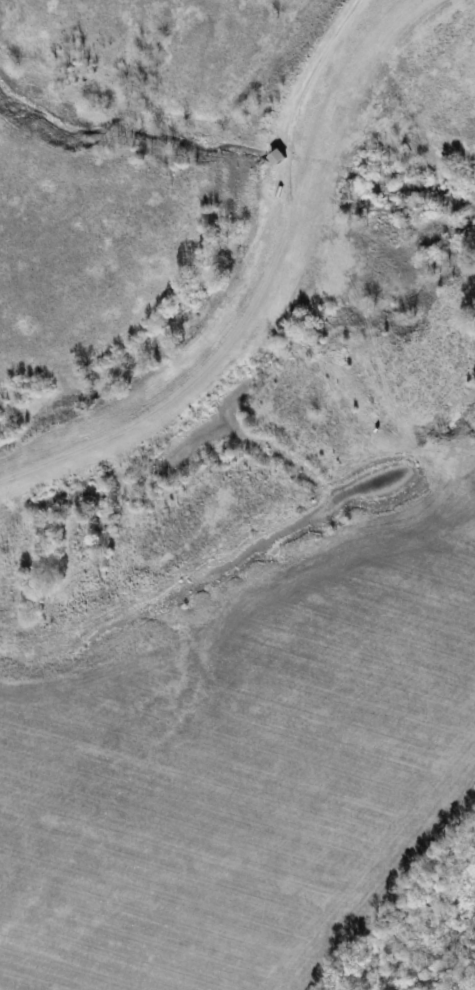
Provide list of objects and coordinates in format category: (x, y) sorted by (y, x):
road: (262, 303)

